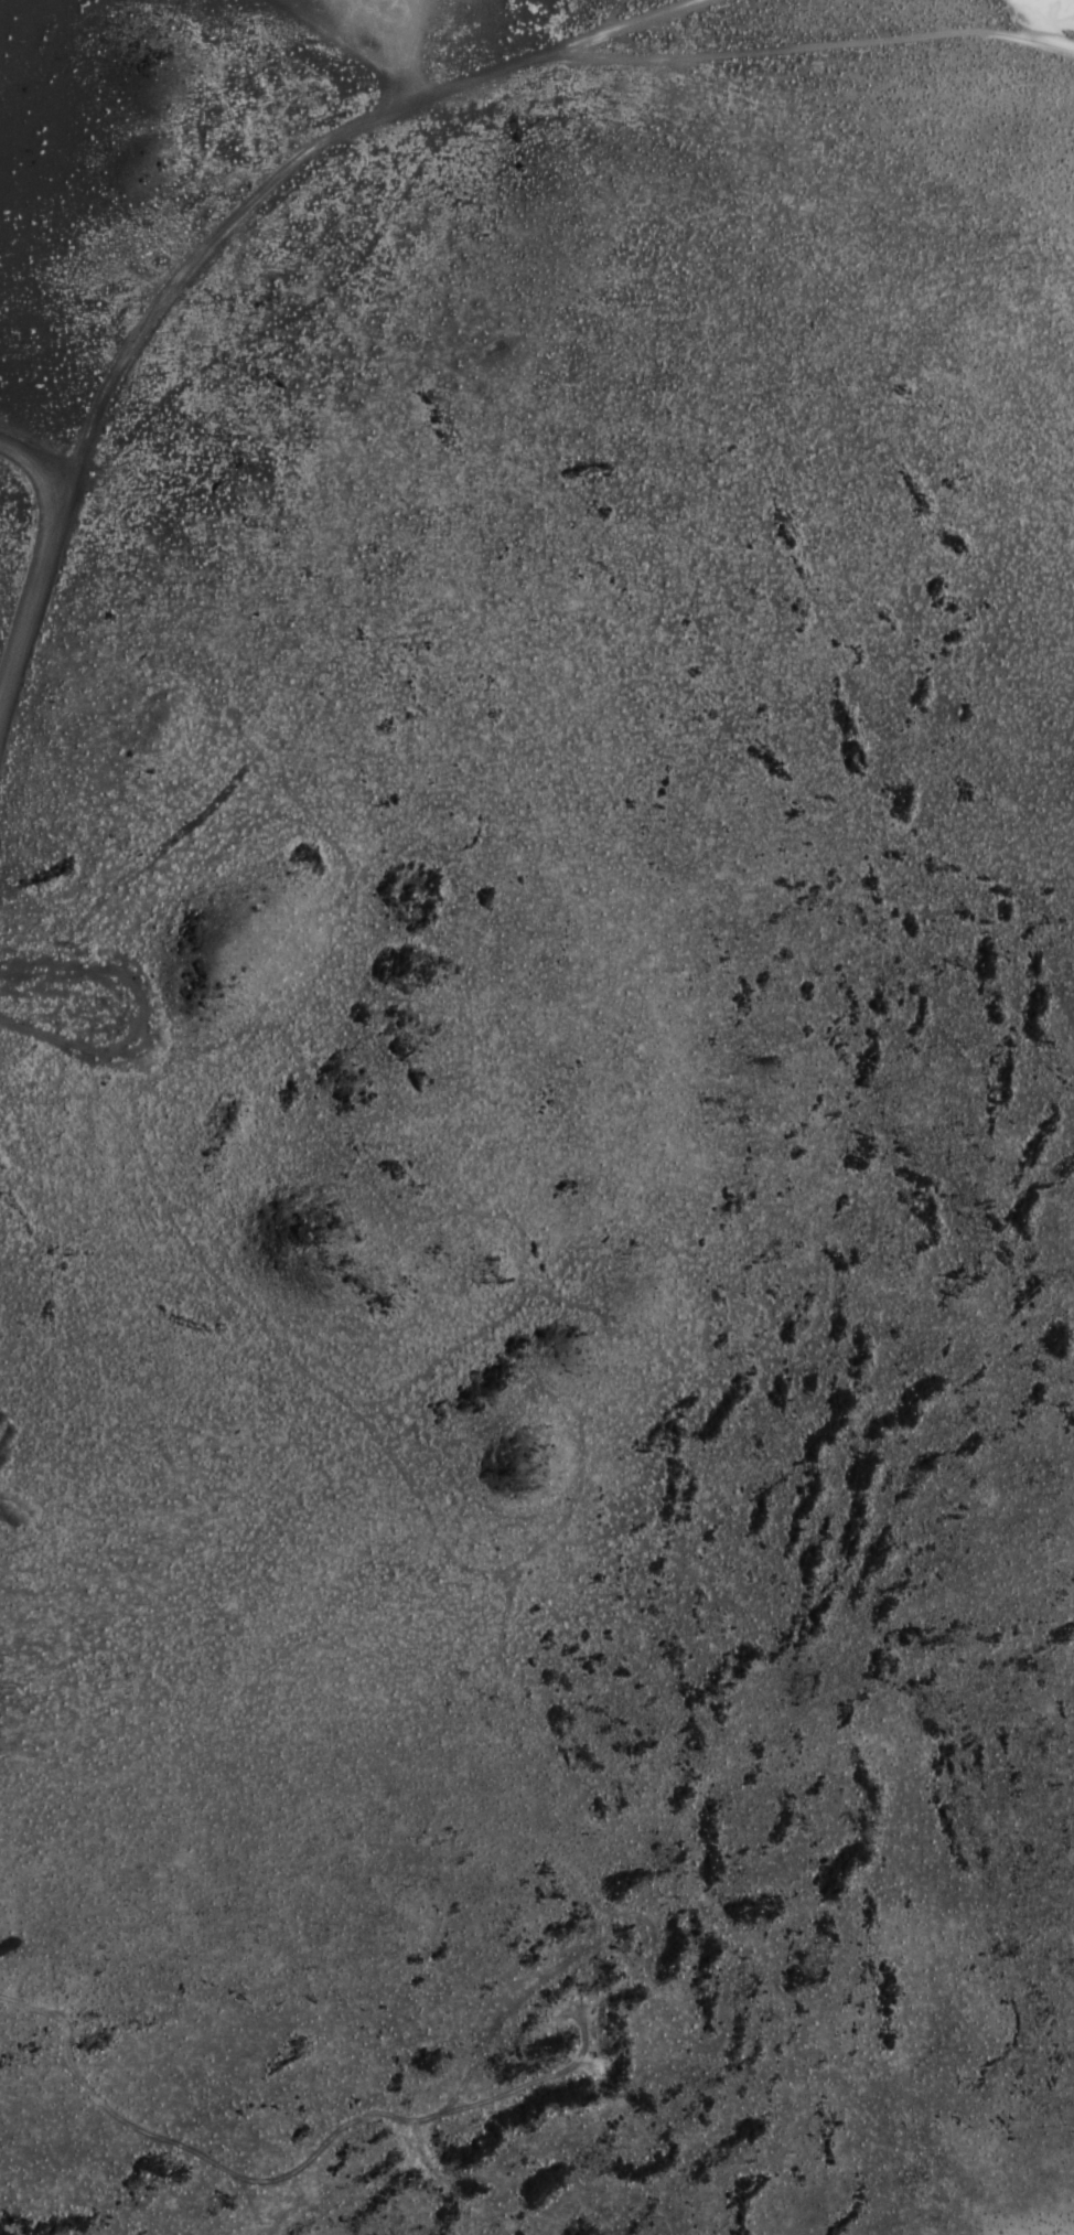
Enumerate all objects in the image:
road: (222, 232)
road: (37, 450)

